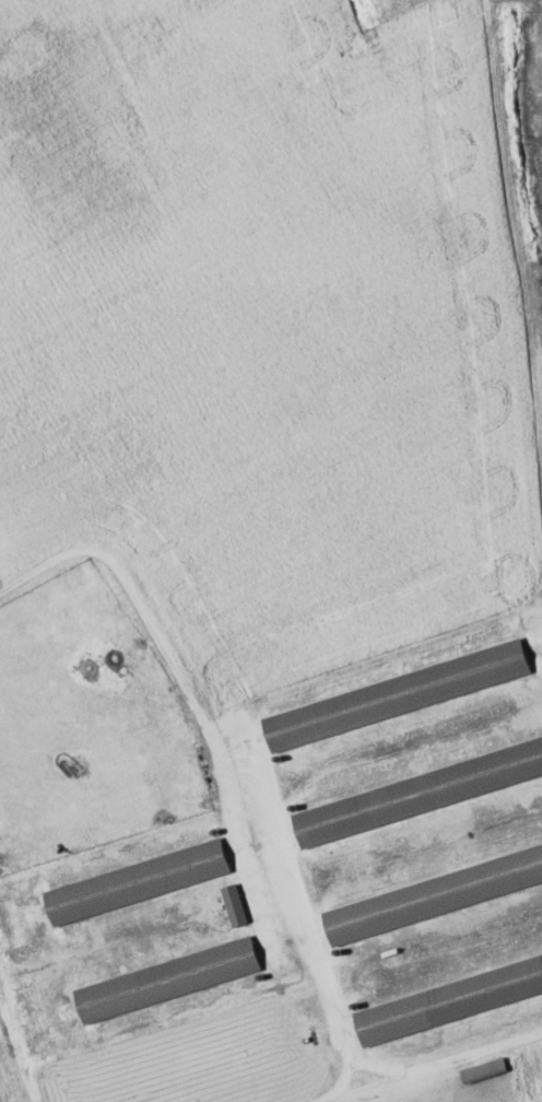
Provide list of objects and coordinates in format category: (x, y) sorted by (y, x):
building: (399, 695)
building: (419, 794)
building: (139, 882)
building: (434, 896)
building: (236, 905)
building: (541, 956)
building: (169, 981)
building: (450, 1003)
building: (486, 1070)

